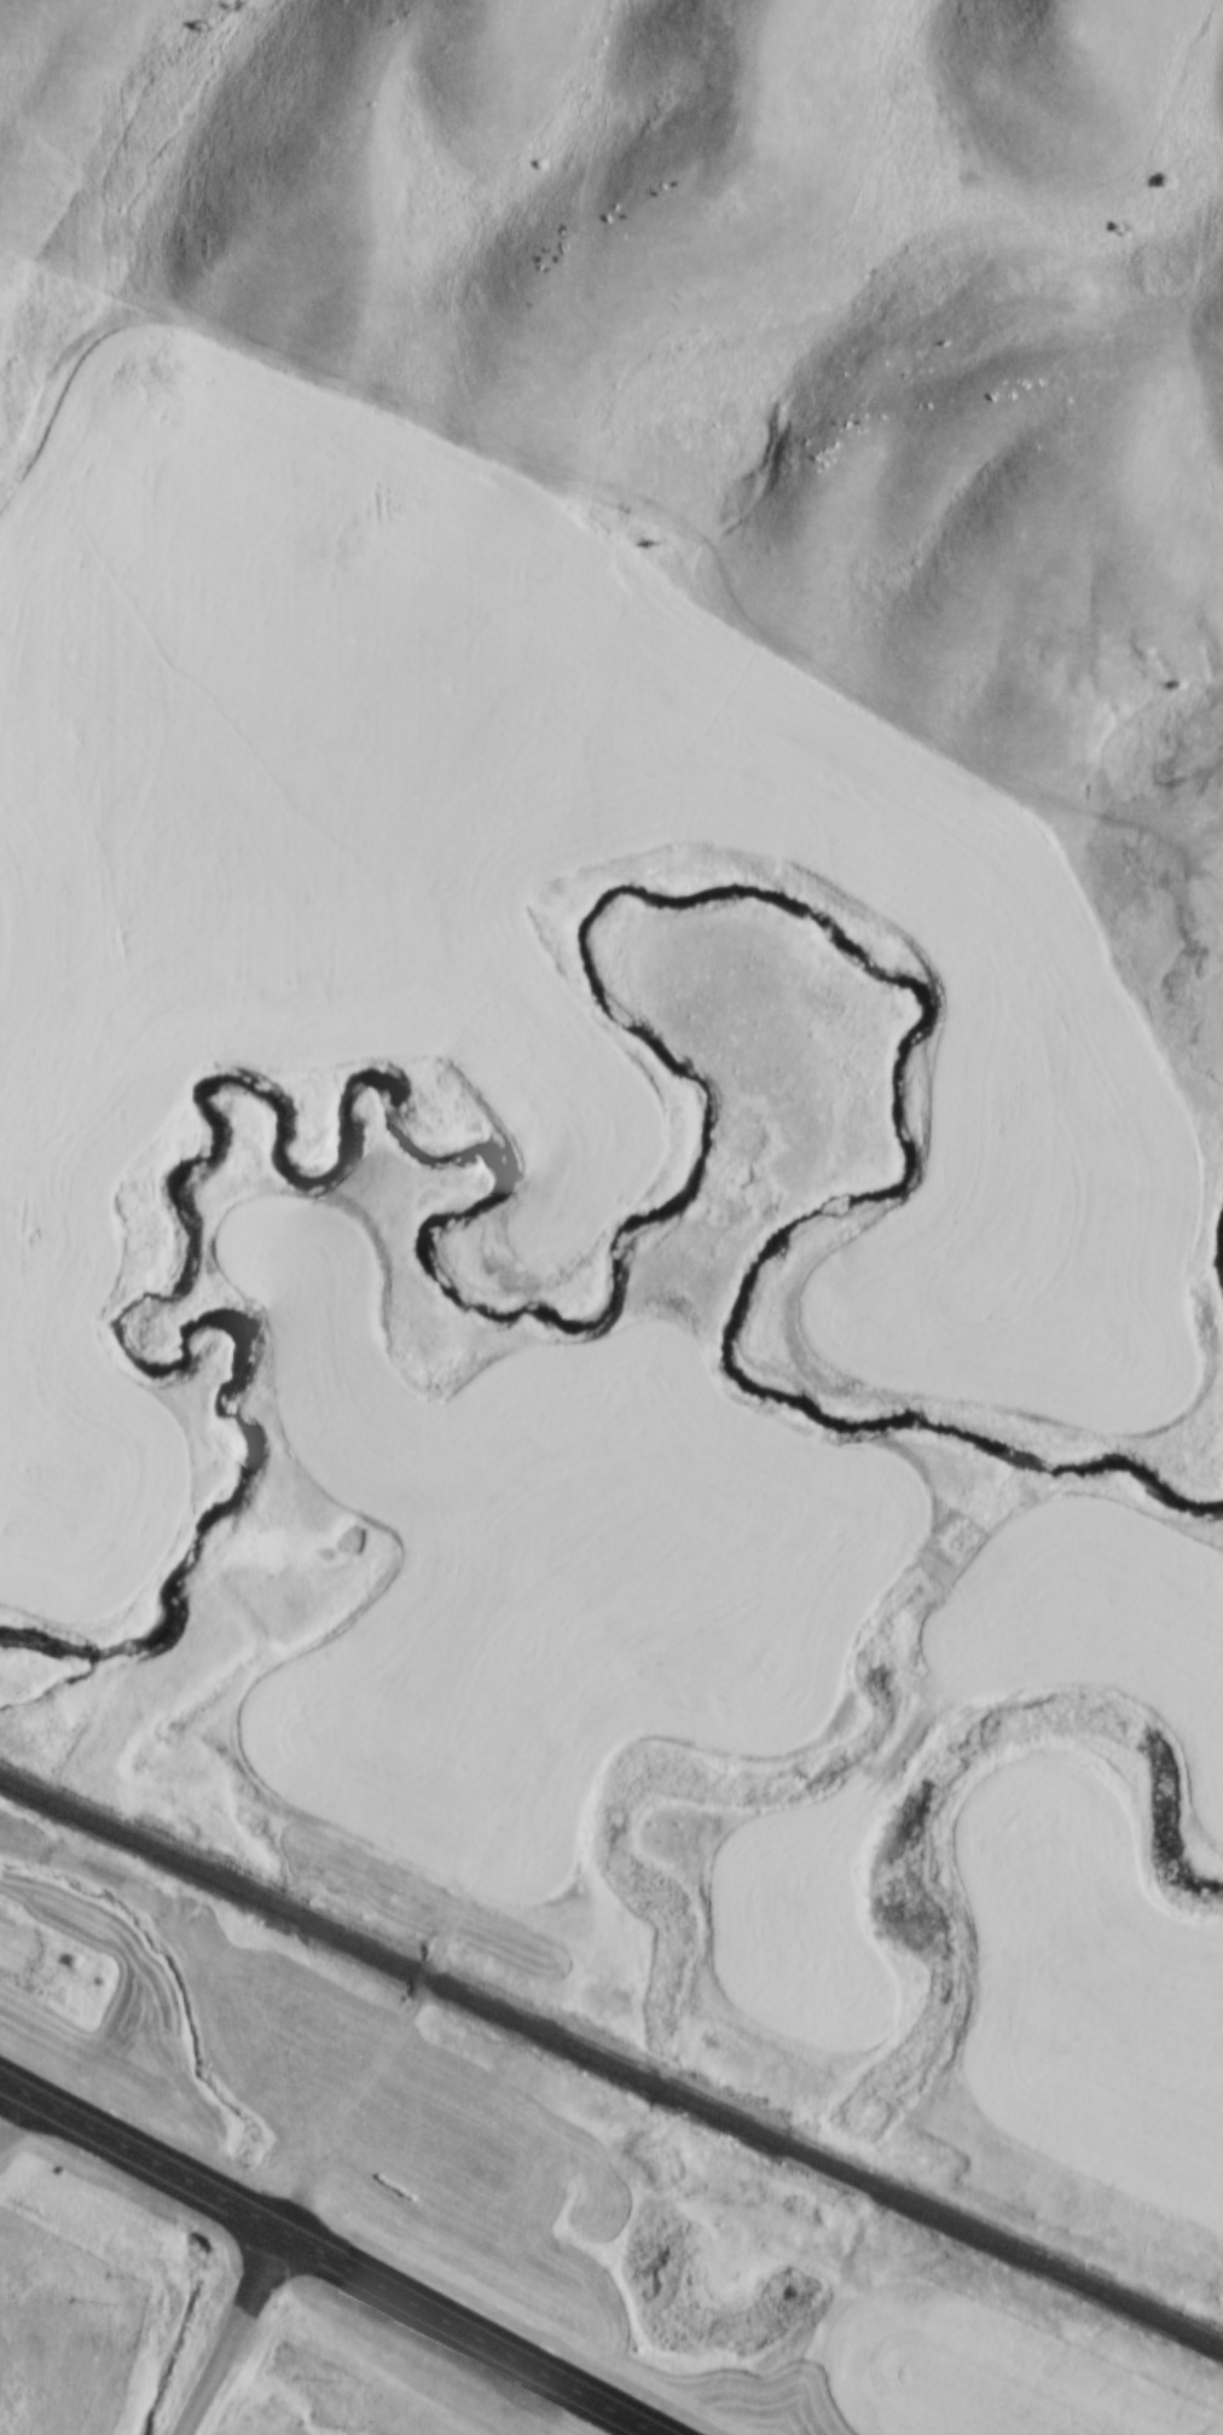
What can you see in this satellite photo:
river: (603, 1270)
road: (388, 2052)
railway: (610, 2065)
road: (7, 2105)
road: (331, 2259)
road: (232, 2335)

